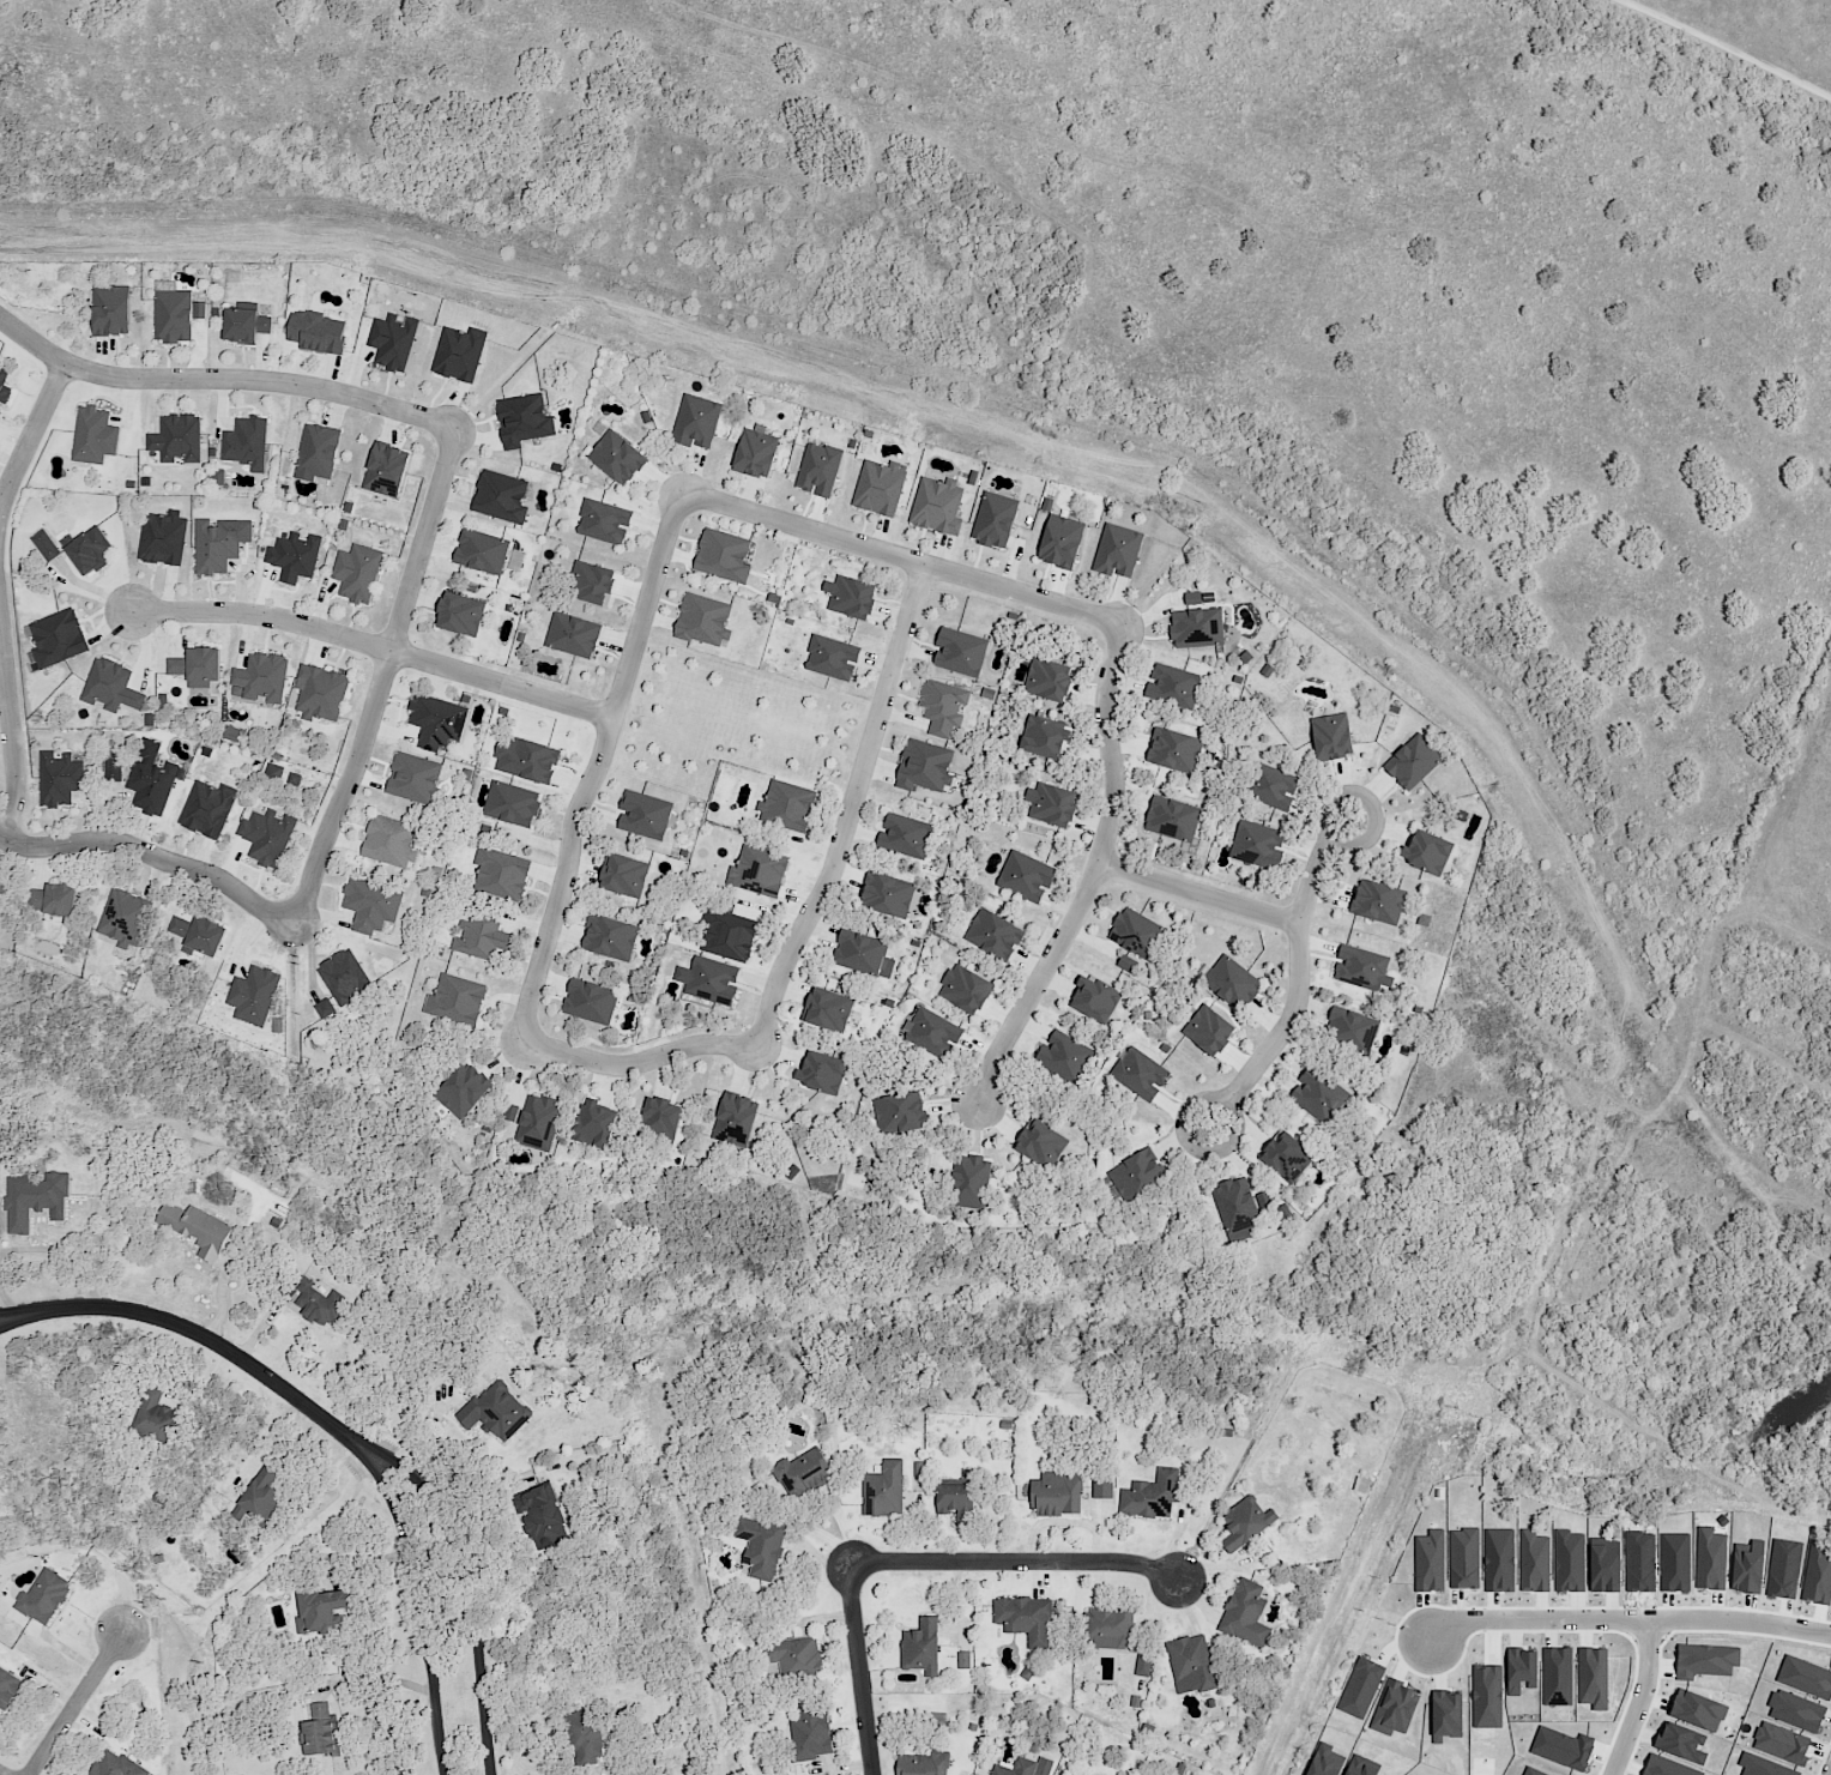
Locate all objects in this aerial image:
building: (114, 310)
building: (175, 315)
building: (246, 325)
building: (319, 333)
building: (389, 342)
building: (458, 352)
road: (224, 380)
building: (6, 384)
building: (522, 419)
building: (695, 421)
road: (32, 436)
building: (93, 437)
building: (179, 439)
building: (248, 443)
building: (318, 448)
building: (756, 452)
building: (618, 455)
building: (387, 463)
building: (817, 466)
building: (218, 477)
building: (877, 487)
building: (501, 493)
building: (937, 503)
building: (996, 518)
building: (604, 520)
building: (164, 539)
building: (1060, 543)
building: (47, 545)
building: (216, 548)
building: (91, 551)
building: (484, 551)
building: (724, 553)
building: (1116, 553)
building: (300, 554)
road: (901, 559)
building: (362, 569)
building: (592, 580)
building: (856, 596)
building: (461, 611)
building: (708, 622)
building: (1196, 622)
building: (59, 634)
building: (572, 634)
road: (377, 647)
building: (960, 648)
building: (833, 654)
building: (198, 668)
building: (264, 672)
building: (1049, 678)
road: (382, 684)
building: (1173, 684)
building: (114, 686)
building: (324, 692)
building: (944, 706)
building: (439, 719)
park: (723, 723)
road: (11, 727)
building: (1047, 736)
building: (1336, 742)
building: (1172, 747)
building: (534, 754)
building: (115, 762)
building: (925, 765)
building: (1416, 765)
road: (598, 766)
building: (273, 771)
building: (421, 777)
building: (152, 778)
building: (61, 779)
building: (294, 780)
building: (1276, 793)
building: (790, 804)
building: (1055, 804)
building: (514, 805)
building: (207, 810)
road: (851, 811)
building: (645, 814)
building: (1167, 815)
building: (278, 832)
building: (906, 834)
building: (397, 840)
building: (1262, 850)
road: (151, 857)
building: (1433, 857)
building: (508, 869)
building: (624, 869)
building: (760, 870)
building: (1026, 874)
road: (1094, 874)
building: (2, 887)
building: (888, 892)
road: (1199, 895)
building: (1374, 898)
building: (59, 899)
building: (373, 900)
building: (127, 918)
building: (1137, 931)
building: (199, 932)
building: (997, 934)
building: (614, 935)
building: (731, 936)
building: (488, 937)
building: (857, 952)
building: (1126, 964)
road: (1748, 967)
building: (1364, 970)
building: (349, 977)
building: (717, 982)
road: (1298, 982)
building: (1237, 986)
building: (254, 995)
building: (971, 995)
building: (461, 1000)
building: (590, 1000)
building: (826, 1003)
building: (1098, 1006)
building: (324, 1009)
building: (1353, 1026)
building: (1213, 1034)
building: (937, 1037)
building: (1064, 1059)
road: (634, 1064)
building: (827, 1075)
building: (1143, 1077)
building: (467, 1086)
building: (1325, 1100)
building: (666, 1113)
building: (737, 1115)
building: (536, 1119)
building: (906, 1121)
building: (596, 1123)
building: (1041, 1136)
building: (1282, 1154)
building: (968, 1175)
building: (848, 1179)
building: (1143, 1181)
building: (36, 1200)
building: (1243, 1206)
building: (199, 1230)
road: (222, 1290)
building: (324, 1303)
road: (30, 1315)
road: (29, 1322)
road: (211, 1342)
road: (1501, 1345)
building: (491, 1408)
building: (157, 1419)
building: (806, 1477)
building: (1102, 1489)
road: (488, 1491)
building: (887, 1492)
building: (1155, 1495)
building: (262, 1497)
building: (1059, 1498)
building: (961, 1501)
building: (542, 1519)
road: (1049, 1523)
building: (1251, 1528)
road: (1099, 1531)
road: (821, 1535)
road: (1177, 1535)
road: (913, 1540)
road: (992, 1540)
building: (763, 1548)
road: (818, 1556)
building: (1463, 1559)
building: (1710, 1559)
building: (1499, 1560)
building: (1430, 1562)
building: (1534, 1562)
building: (1569, 1562)
road: (365, 1564)
road: (1016, 1565)
road: (1217, 1565)
building: (1747, 1568)
building: (1818, 1575)
road: (469, 1576)
road: (1043, 1584)
road: (422, 1593)
building: (44, 1599)
road: (957, 1601)
road: (1201, 1602)
road: (1153, 1604)
road: (1188, 1605)
building: (324, 1612)
building: (1252, 1618)
road: (1627, 1618)
road: (824, 1620)
building: (1029, 1623)
building: (1117, 1629)
building: (923, 1647)
building: (799, 1659)
building: (968, 1660)
building: (1705, 1661)
building: (1143, 1664)
building: (1195, 1665)
road: (862, 1670)
building: (1027, 1672)
building: (1521, 1672)
building: (1557, 1677)
building: (1593, 1678)
road: (381, 1680)
building: (12, 1690)
building: (1486, 1697)
road: (1640, 1697)
road: (77, 1704)
building: (1697, 1710)
building: (1795, 1710)
building: (1446, 1714)
building: (322, 1732)
building: (814, 1737)
building: (586, 1738)
building: (1781, 1744)
building: (930, 1763)
building: (119, 1765)
building: (1761, 1767)
building: (1021, 1768)
building: (1667, 1768)
road: (846, 1769)

